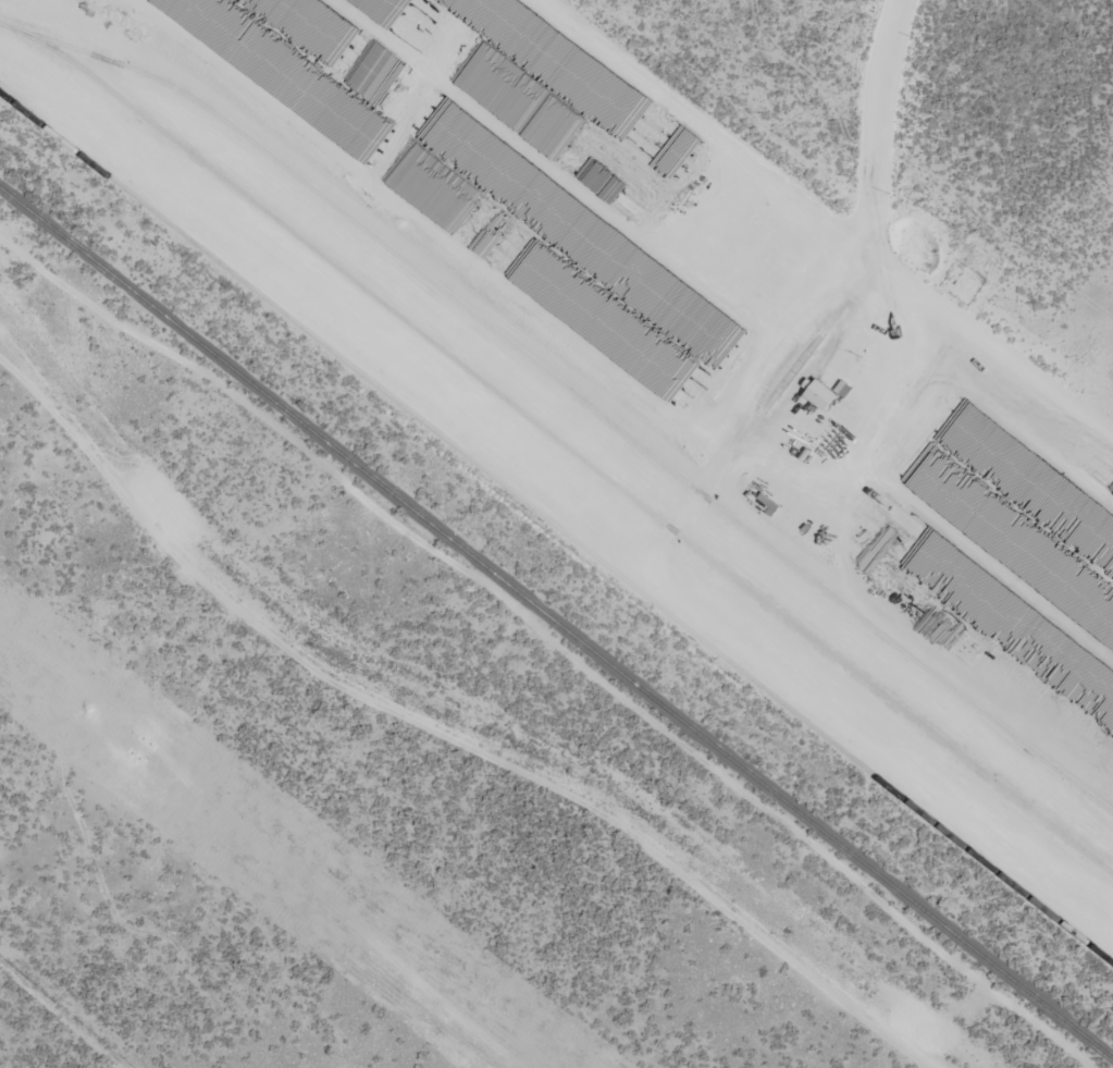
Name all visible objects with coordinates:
building: (378, 52)
building: (500, 84)
building: (669, 132)
building: (602, 181)
building: (433, 187)
building: (830, 396)
building: (878, 551)
railway: (556, 623)
building: (1058, 712)
power tower: (138, 749)

